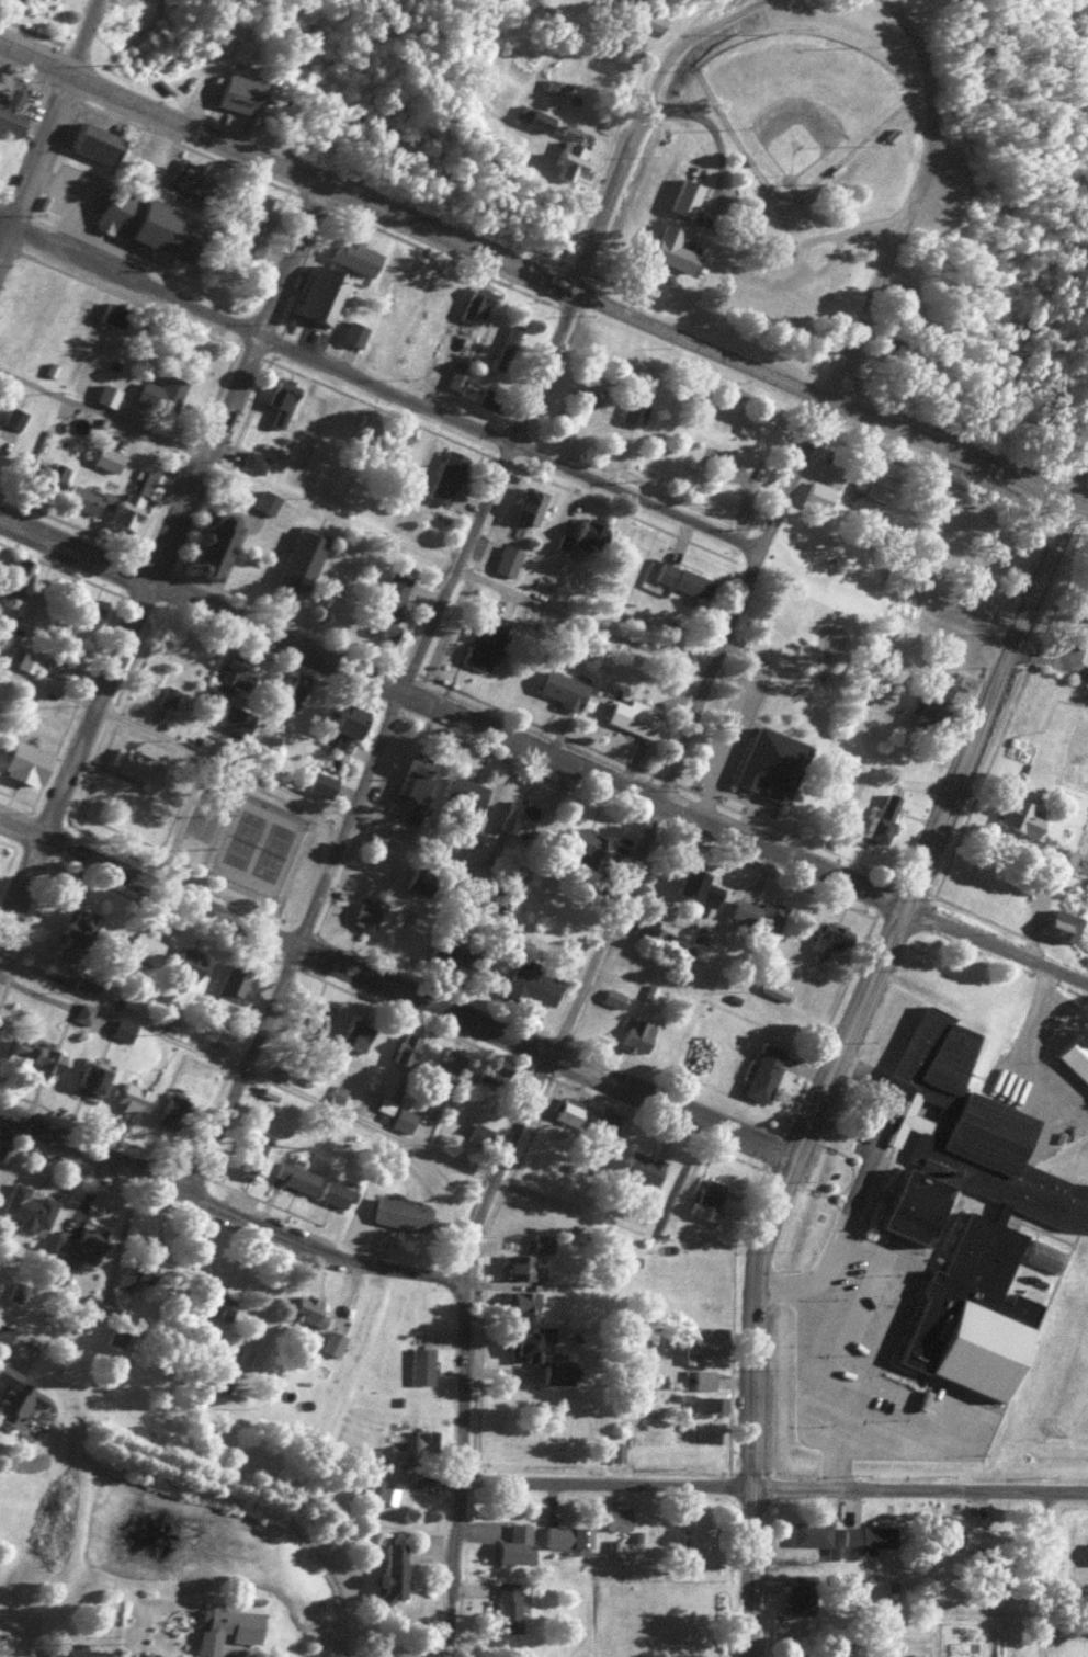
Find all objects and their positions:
building: (22, 2)
road: (712, 16)
building: (649, 32)
road: (81, 36)
road: (919, 53)
building: (240, 94)
park: (801, 102)
building: (13, 113)
building: (536, 118)
building: (100, 143)
park: (803, 154)
building: (570, 158)
road: (35, 161)
road: (619, 164)
building: (151, 224)
building: (676, 249)
building: (361, 257)
road: (885, 258)
road: (542, 279)
building: (319, 291)
building: (477, 306)
building: (356, 333)
building: (511, 349)
building: (457, 379)
road: (378, 385)
building: (166, 393)
building: (284, 397)
building: (635, 412)
building: (575, 413)
building: (369, 429)
building: (256, 462)
building: (58, 477)
building: (451, 477)
road: (1078, 480)
building: (881, 481)
building: (819, 495)
building: (84, 499)
building: (140, 500)
building: (269, 501)
building: (532, 504)
road: (353, 513)
building: (593, 533)
building: (214, 544)
road: (160, 559)
building: (509, 560)
building: (303, 561)
building: (685, 580)
building: (392, 601)
building: (34, 604)
building: (487, 640)
building: (30, 661)
building: (233, 673)
building: (565, 690)
building: (297, 691)
building: (238, 720)
building: (636, 720)
building: (352, 722)
road: (174, 741)
road: (378, 742)
road: (543, 752)
building: (29, 763)
building: (771, 764)
building: (140, 768)
building: (418, 773)
building: (325, 785)
building: (467, 794)
building: (884, 817)
building: (519, 819)
building: (1030, 819)
park: (202, 820)
road: (642, 836)
park: (239, 845)
building: (586, 847)
park: (242, 848)
park: (271, 859)
building: (1064, 860)
building: (702, 887)
building: (369, 912)
building: (760, 913)
building: (1062, 924)
building: (75, 934)
building: (834, 938)
building: (409, 945)
building: (145, 949)
building: (451, 957)
building: (184, 965)
building: (233, 983)
road: (865, 983)
building: (534, 984)
road: (395, 986)
building: (615, 998)
building: (84, 1014)
building: (124, 1030)
building: (356, 1034)
building: (639, 1035)
building: (408, 1049)
building: (1076, 1056)
building: (47, 1059)
building: (447, 1065)
road: (246, 1068)
building: (767, 1072)
building: (93, 1079)
building: (132, 1094)
building: (168, 1116)
building: (607, 1120)
building: (405, 1121)
building: (967, 1143)
building: (259, 1160)
building: (645, 1168)
building: (296, 1178)
building: (336, 1194)
building: (709, 1199)
building: (30, 1210)
road: (224, 1210)
building: (404, 1214)
building: (82, 1244)
building: (520, 1267)
building: (139, 1275)
building: (524, 1302)
building: (218, 1306)
building: (309, 1310)
building: (979, 1310)
road: (4, 1338)
building: (546, 1357)
building: (422, 1366)
building: (19, 1397)
building: (715, 1405)
road: (313, 1418)
building: (617, 1452)
road: (460, 1464)
road: (773, 1488)
building: (388, 1493)
building: (620, 1518)
building: (814, 1535)
building: (870, 1536)
building: (569, 1537)
building: (519, 1545)
building: (706, 1552)
building: (1087, 1554)
road: (748, 1570)
building: (802, 1597)
building: (511, 1608)
building: (227, 1630)
building: (86, 1653)
building: (691, 1655)
building: (816, 1655)

